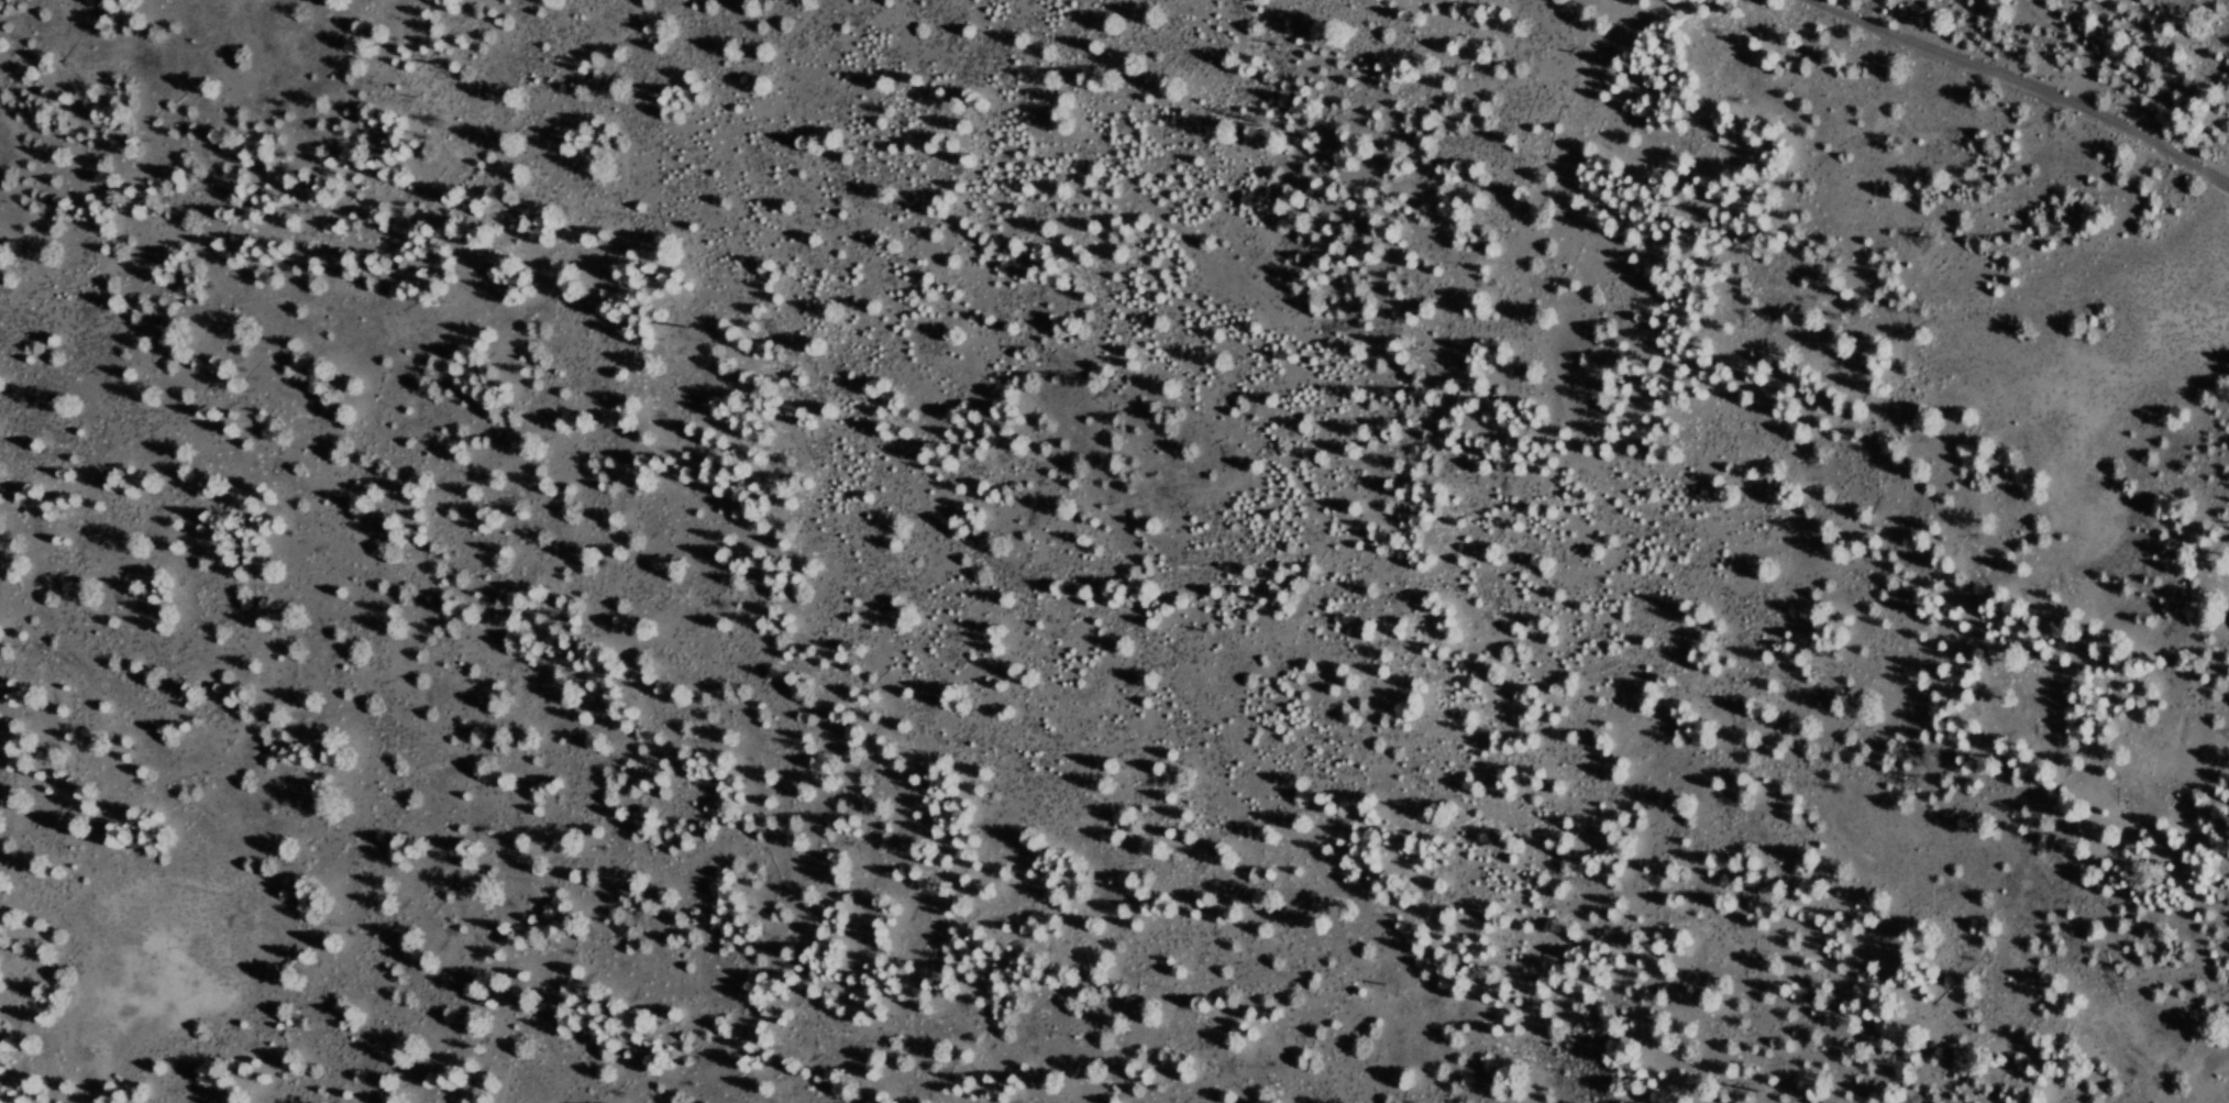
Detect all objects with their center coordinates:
road: (2021, 85)

